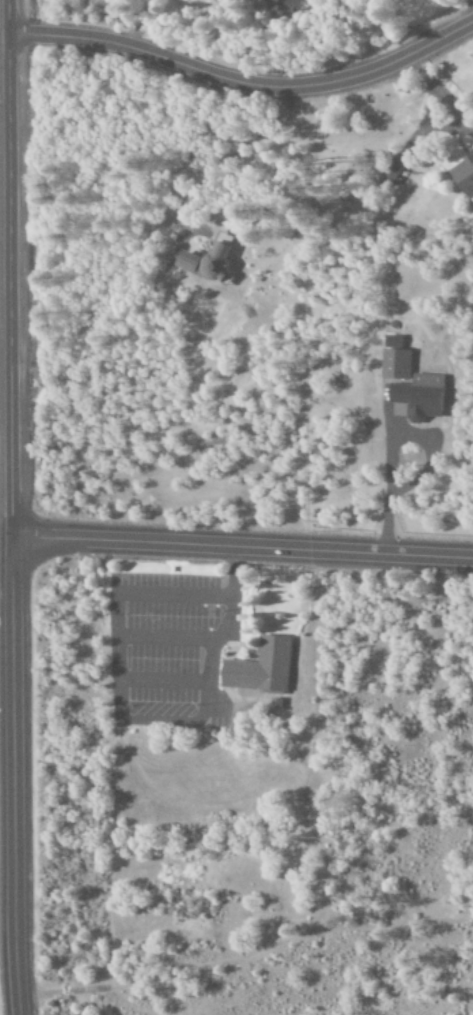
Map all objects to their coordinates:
building: (282, 6)
road: (244, 82)
building: (390, 171)
building: (462, 174)
building: (205, 259)
building: (392, 359)
building: (416, 397)
road: (13, 507)
road: (243, 549)
road: (229, 630)
road: (168, 641)
road: (234, 643)
road: (119, 650)
building: (259, 670)
road: (231, 676)
road: (164, 683)
road: (219, 700)

